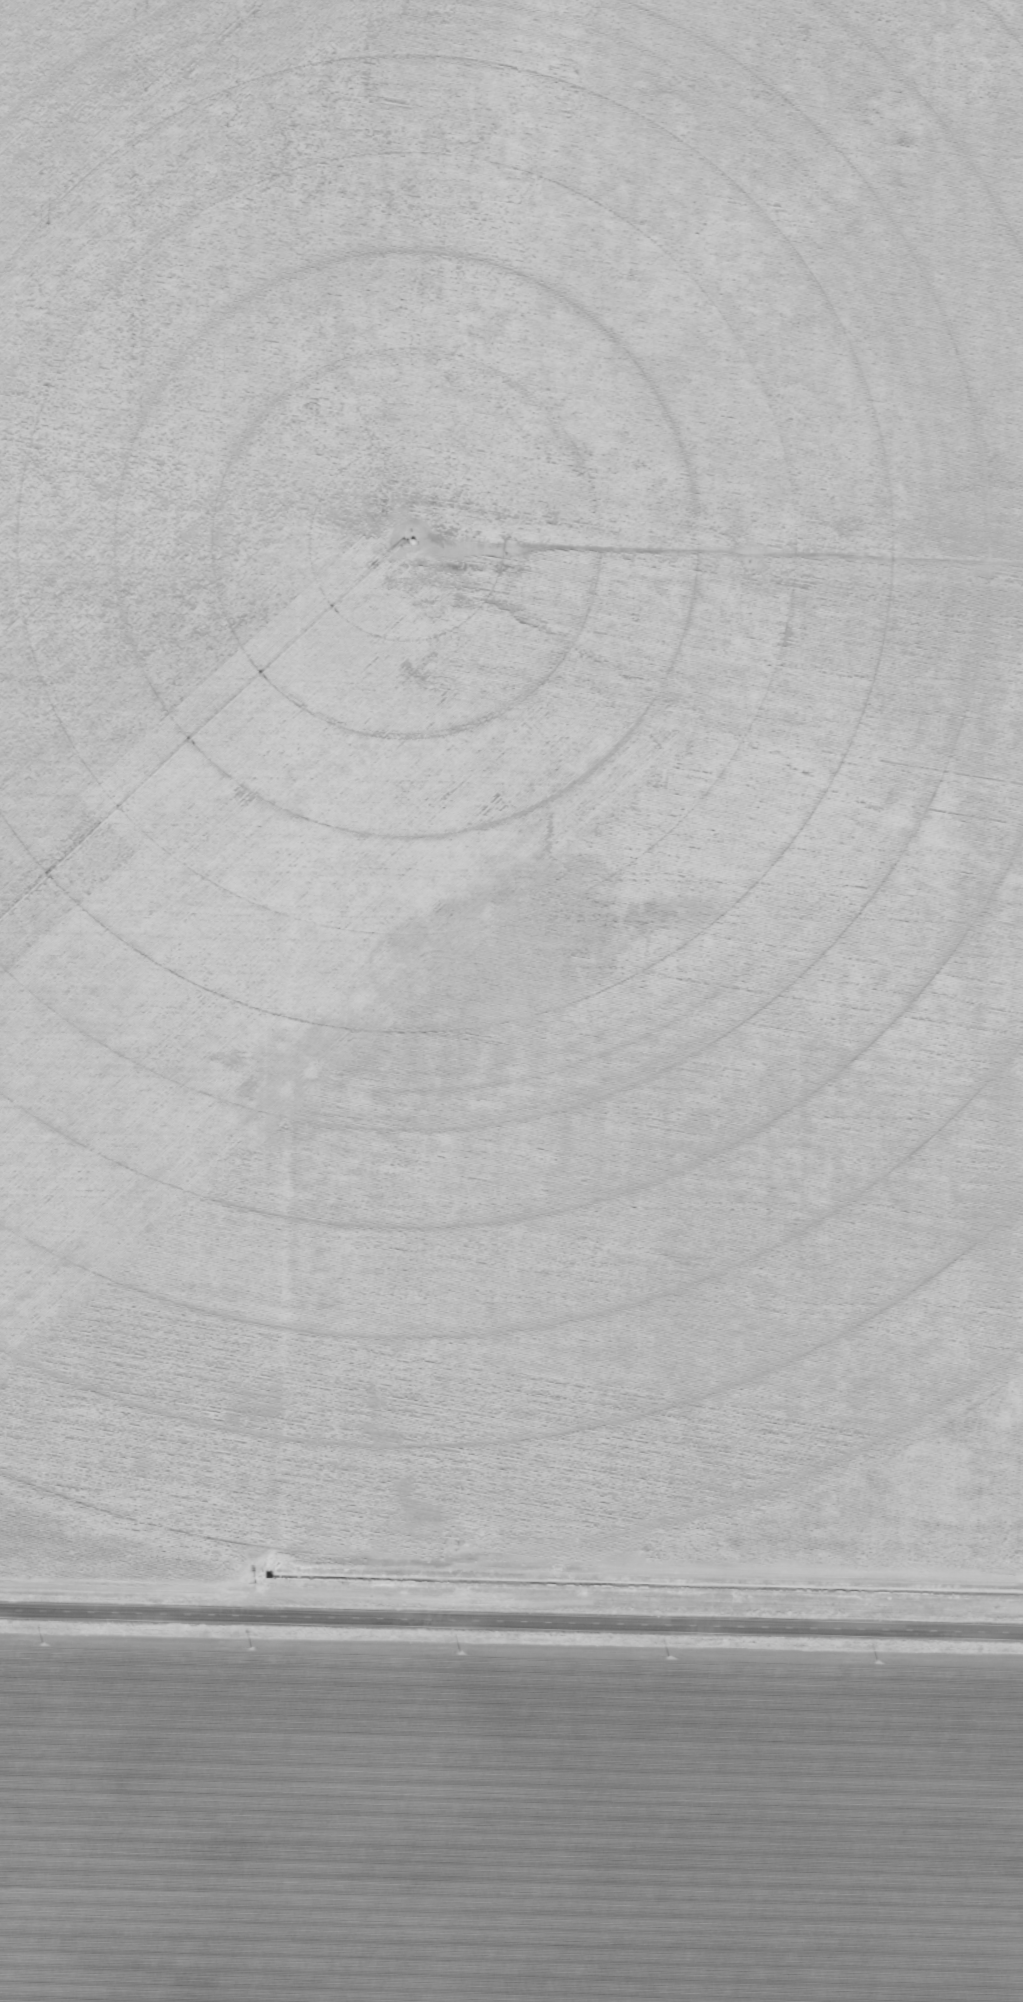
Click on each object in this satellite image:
road: (511, 1622)

